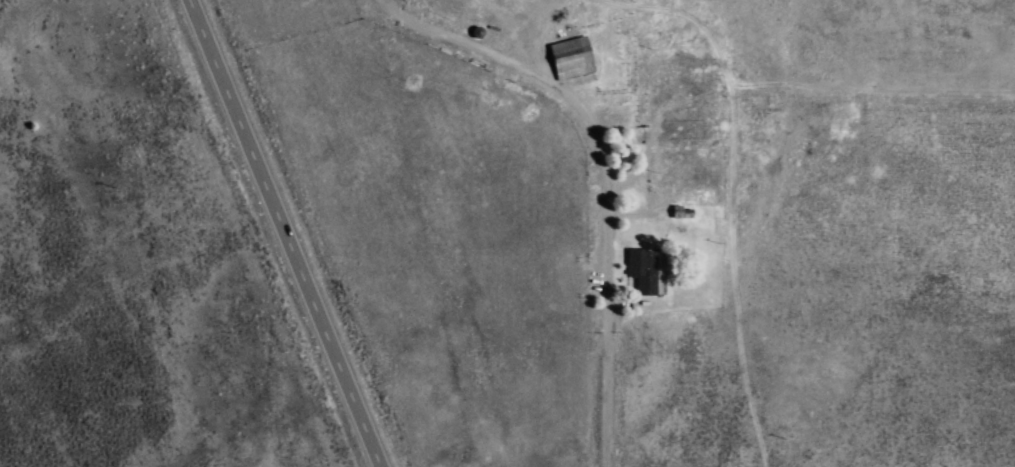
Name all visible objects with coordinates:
building: (569, 57)
road: (601, 172)
road: (269, 233)
crop: (833, 246)
building: (644, 272)
crop: (137, 302)

